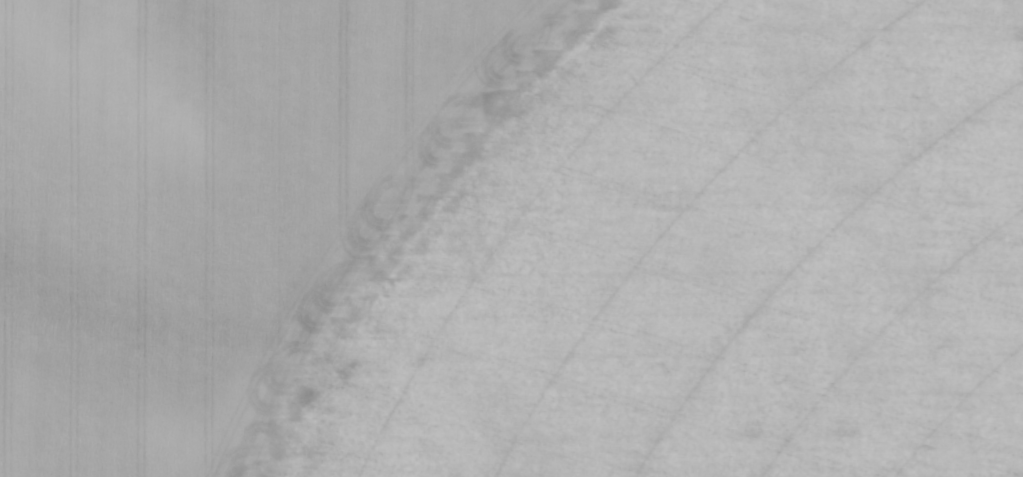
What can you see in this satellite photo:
crop: (511, 238)

